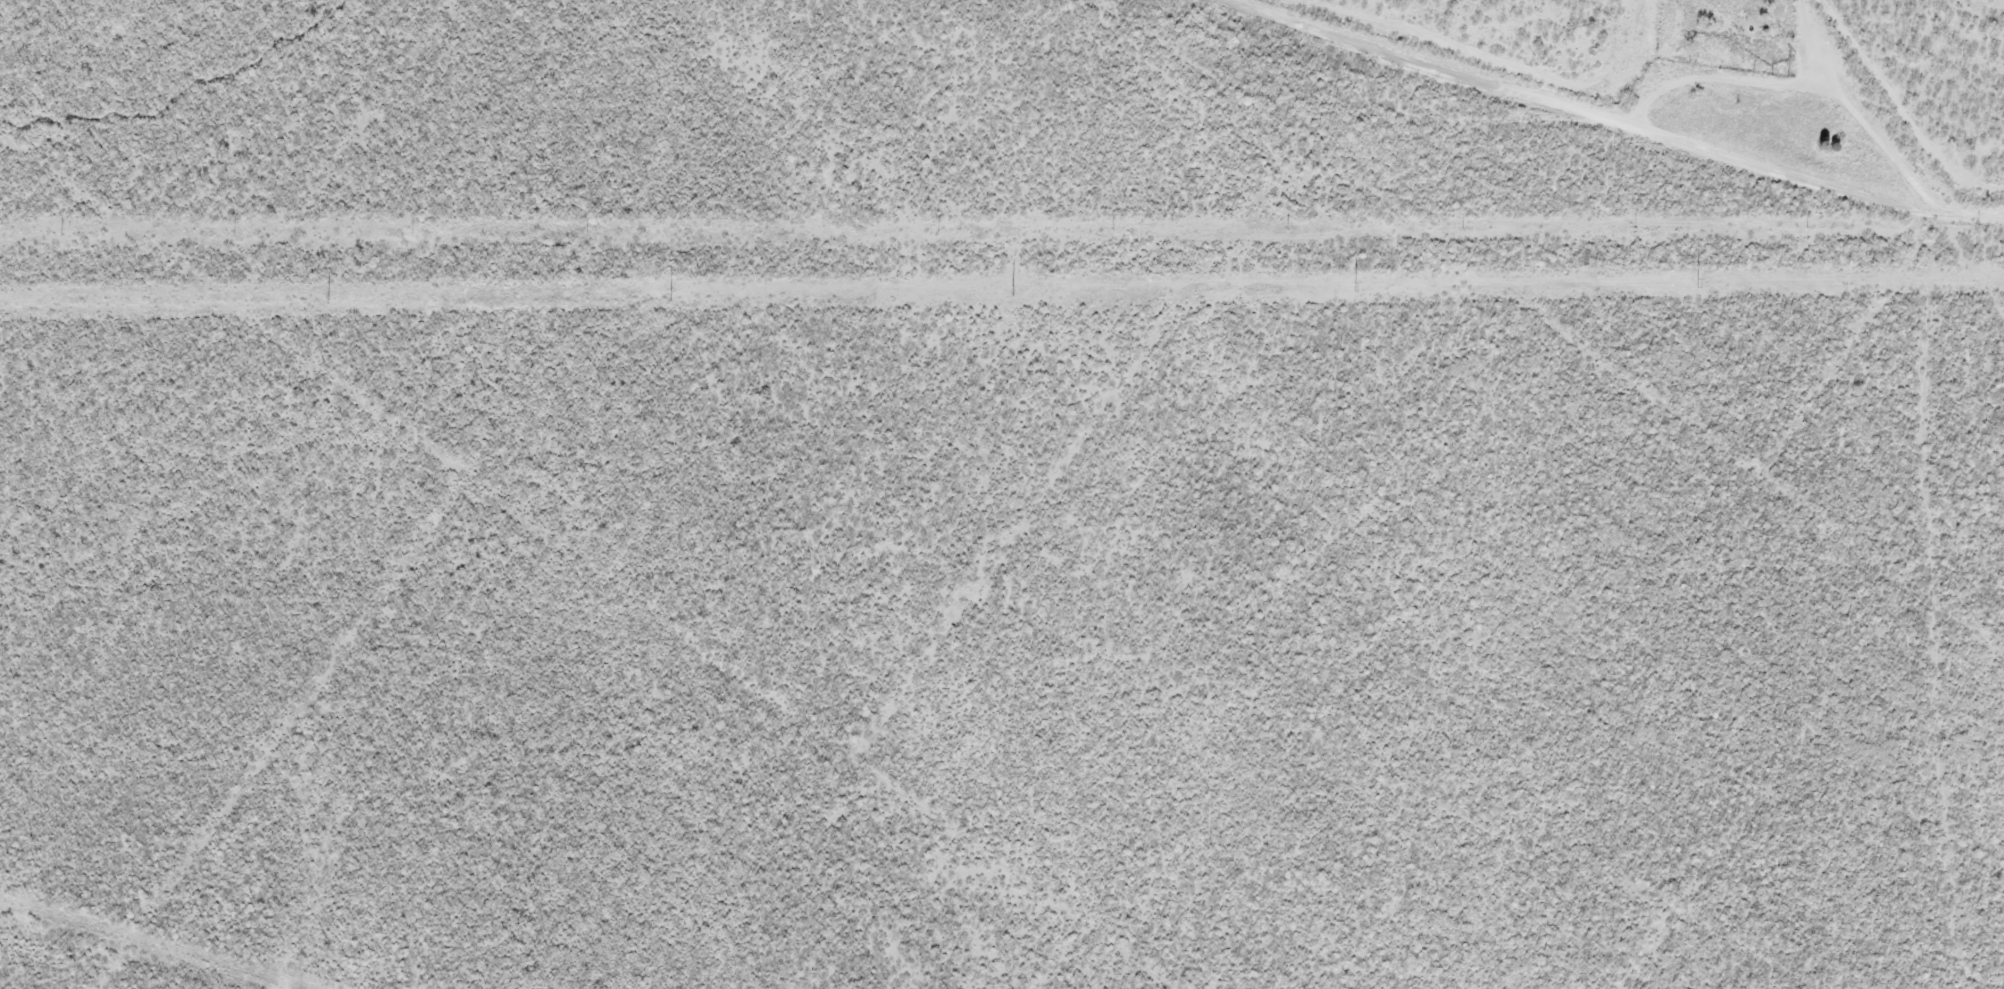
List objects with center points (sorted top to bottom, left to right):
road: (1600, 117)
power tower: (1698, 282)
power tower: (1353, 286)
power tower: (1012, 291)
power tower: (669, 295)
power tower: (325, 298)

